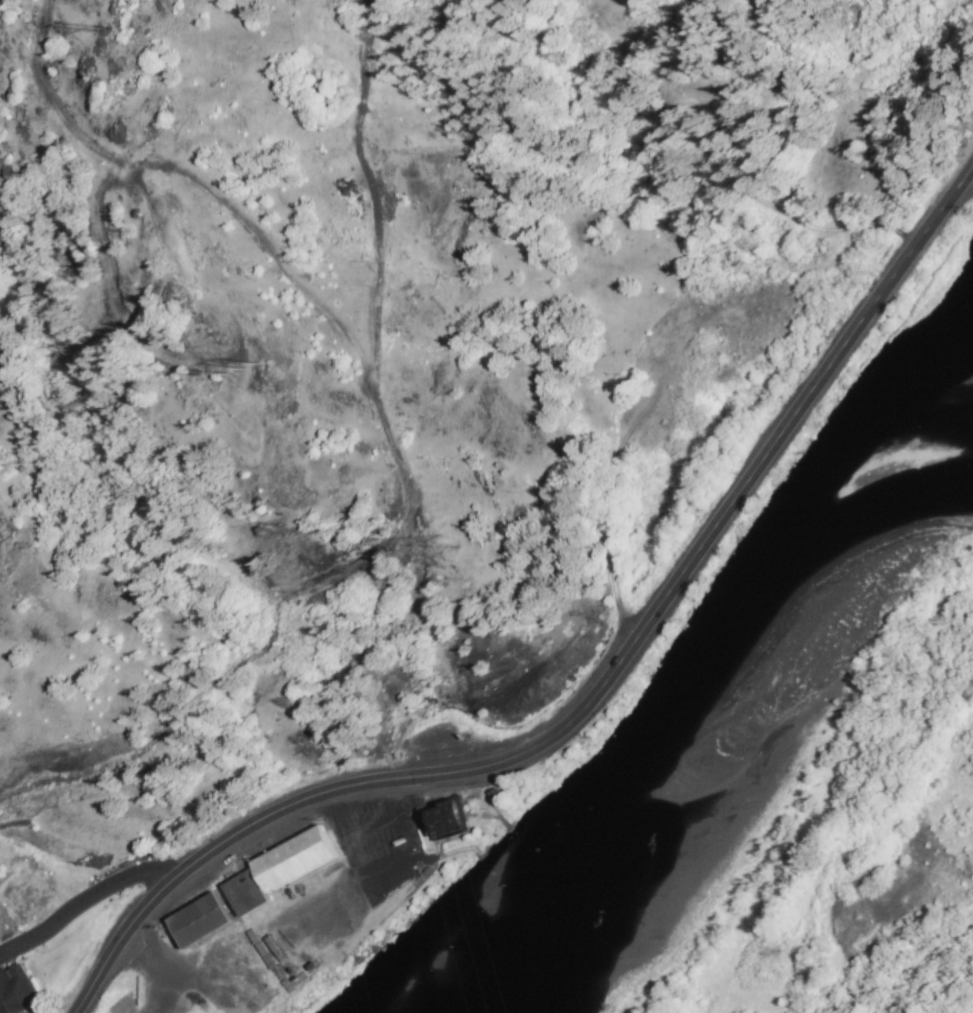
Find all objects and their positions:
road: (383, 441)
power tower: (432, 555)
road: (599, 689)
building: (442, 820)
building: (289, 860)
building: (241, 893)
road: (80, 905)
building: (194, 921)
building: (19, 990)

